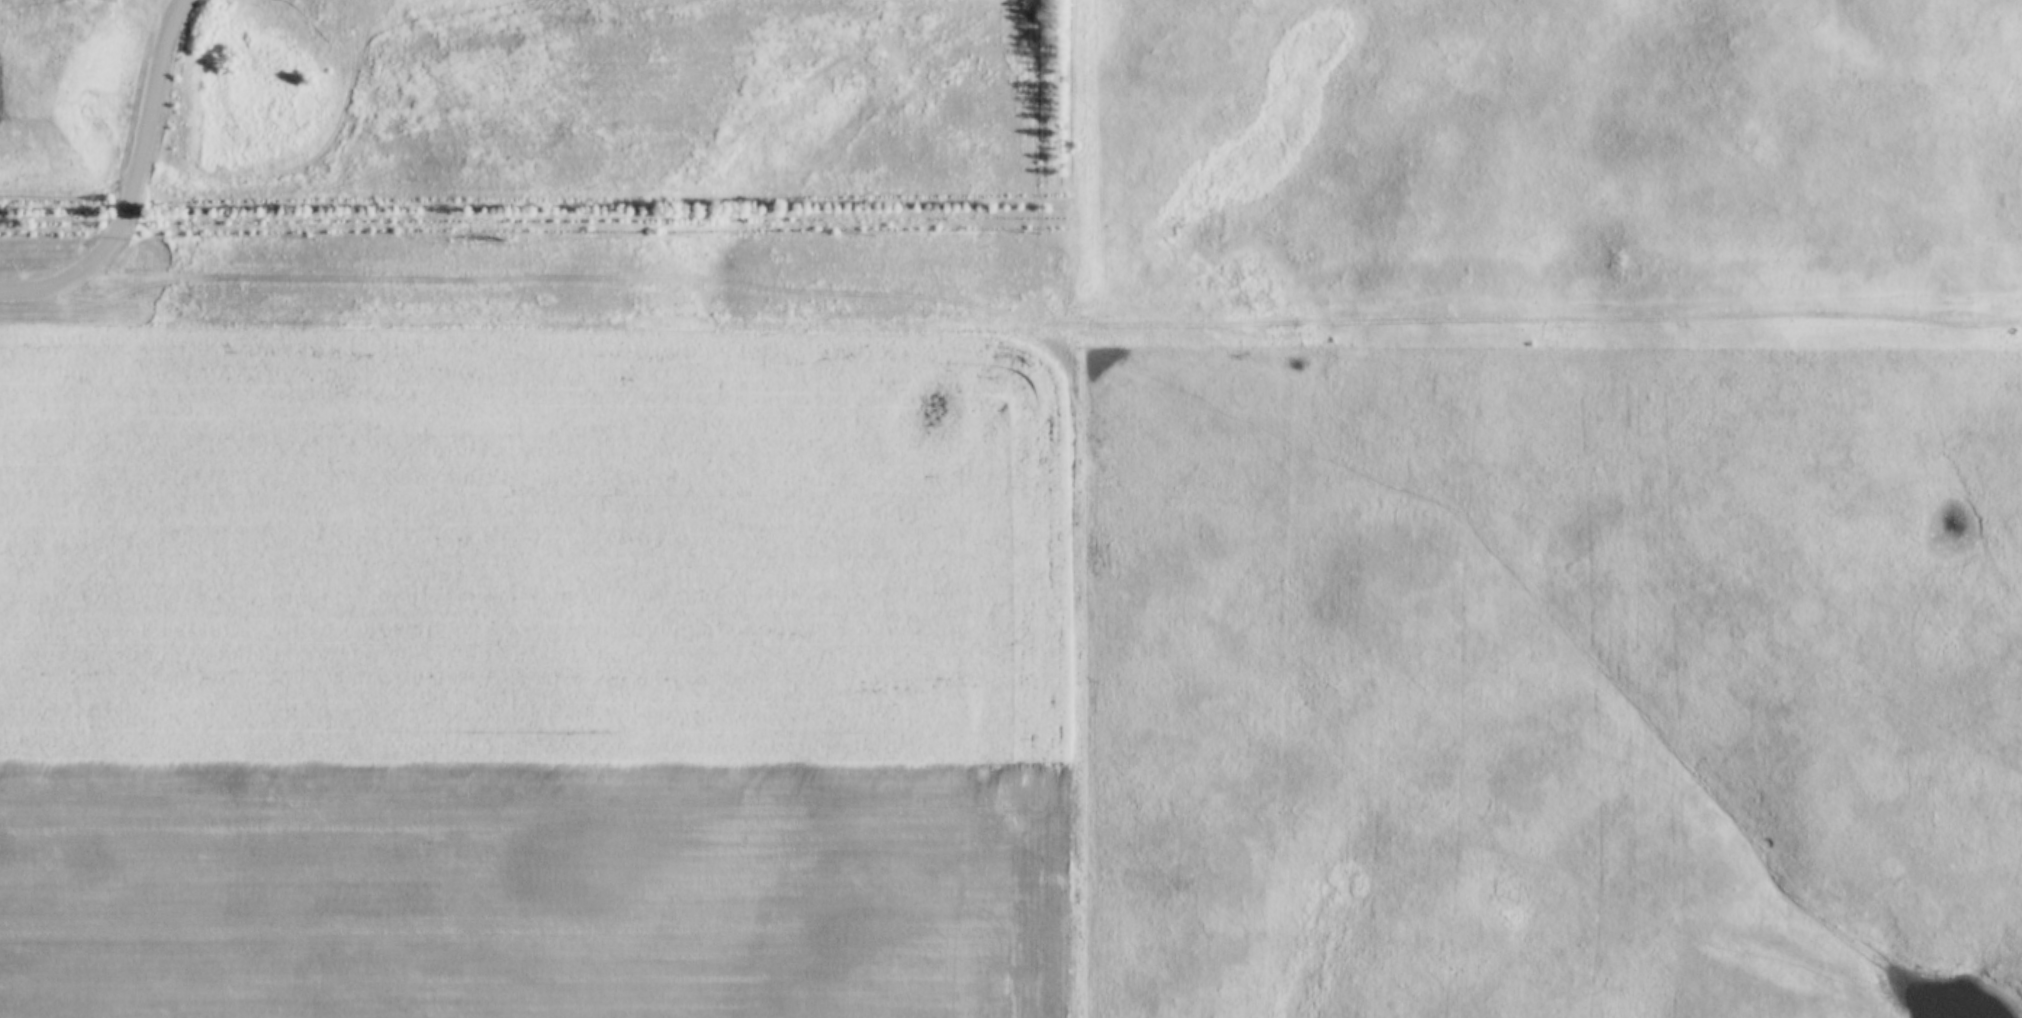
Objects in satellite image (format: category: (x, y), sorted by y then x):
quarry: (519, 92)
road: (1011, 334)

